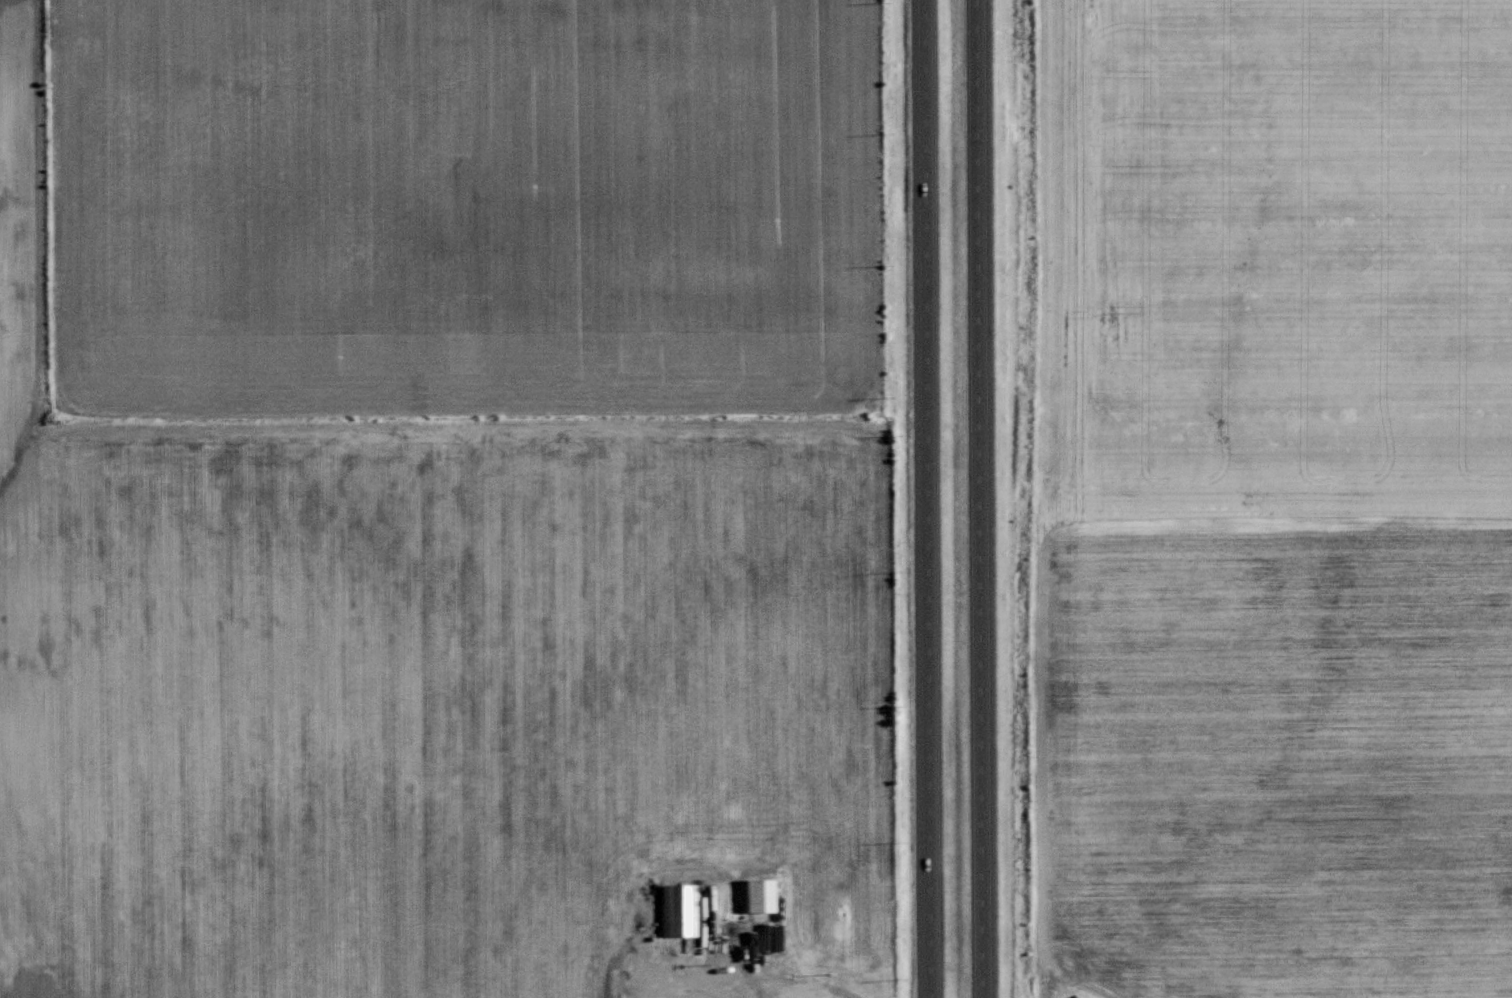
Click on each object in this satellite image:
crop: (1274, 497)
road: (930, 499)
road: (977, 499)
building: (759, 894)
building: (679, 911)
parking lot: (751, 937)
road: (674, 965)
road: (623, 972)
road: (742, 988)
road: (844, 994)

